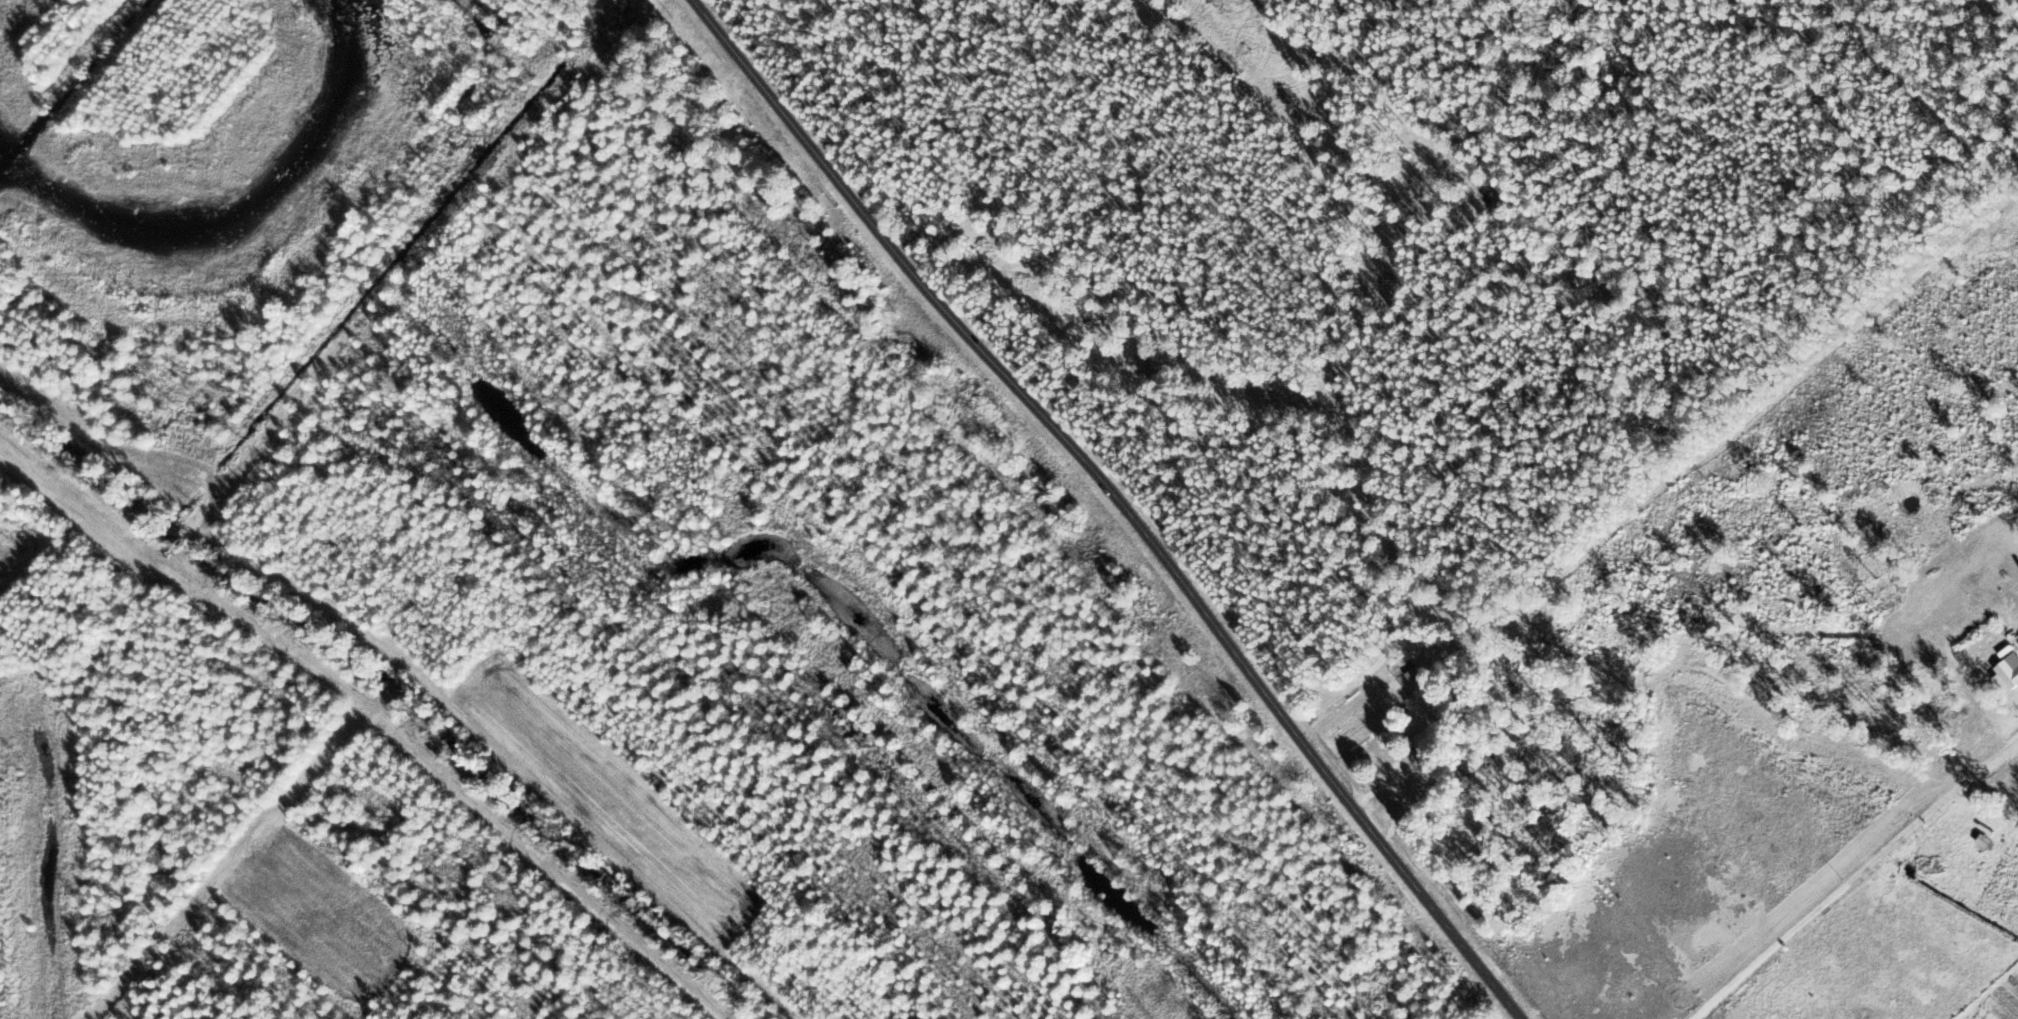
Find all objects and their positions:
road: (1120, 498)
building: (2007, 673)
building: (1425, 739)

